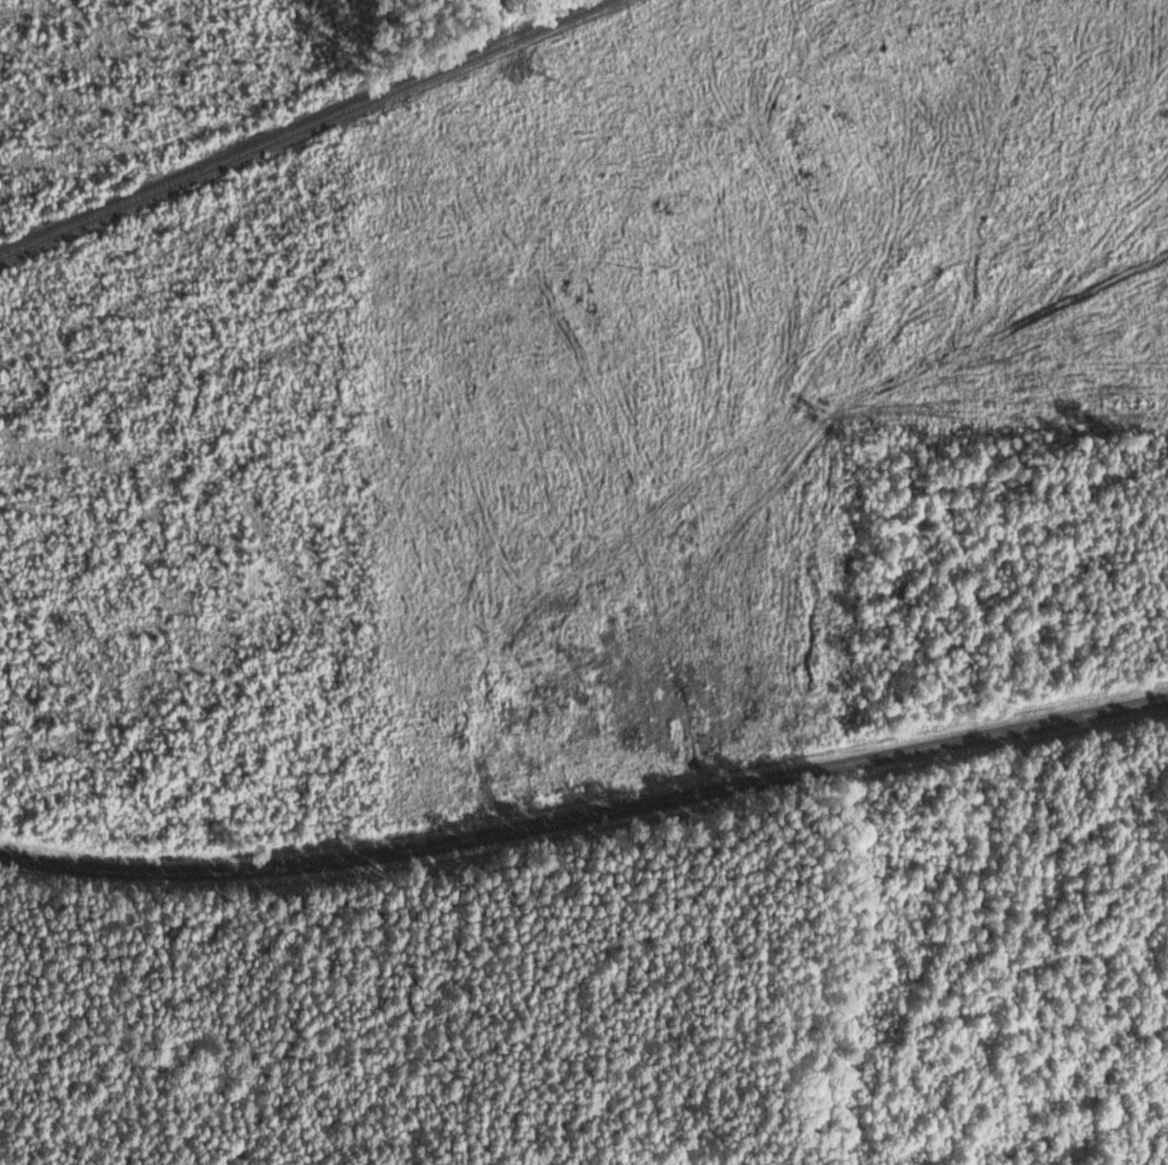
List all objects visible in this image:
railway: (313, 133)
road: (586, 820)

